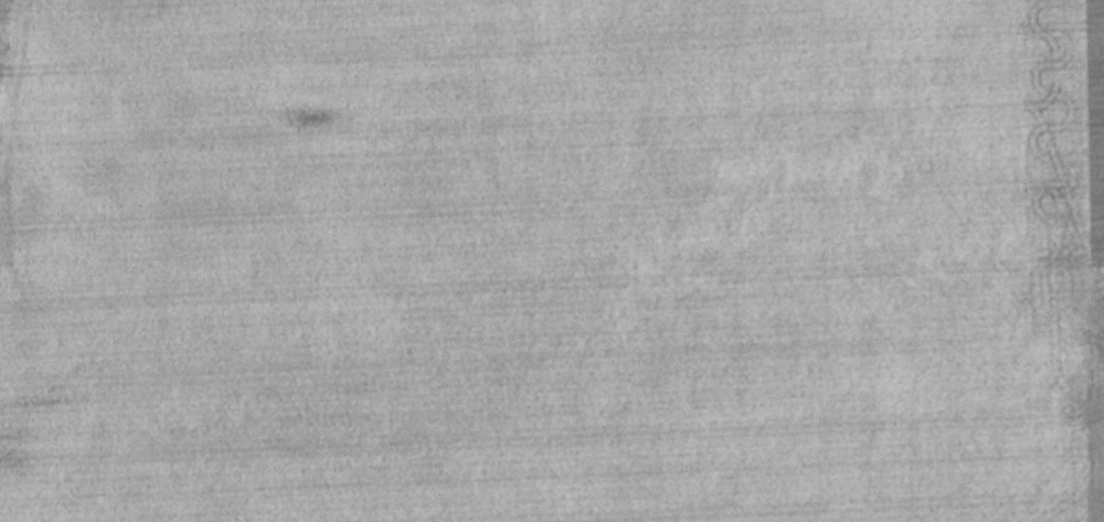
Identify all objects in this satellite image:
road: (922, 108)

